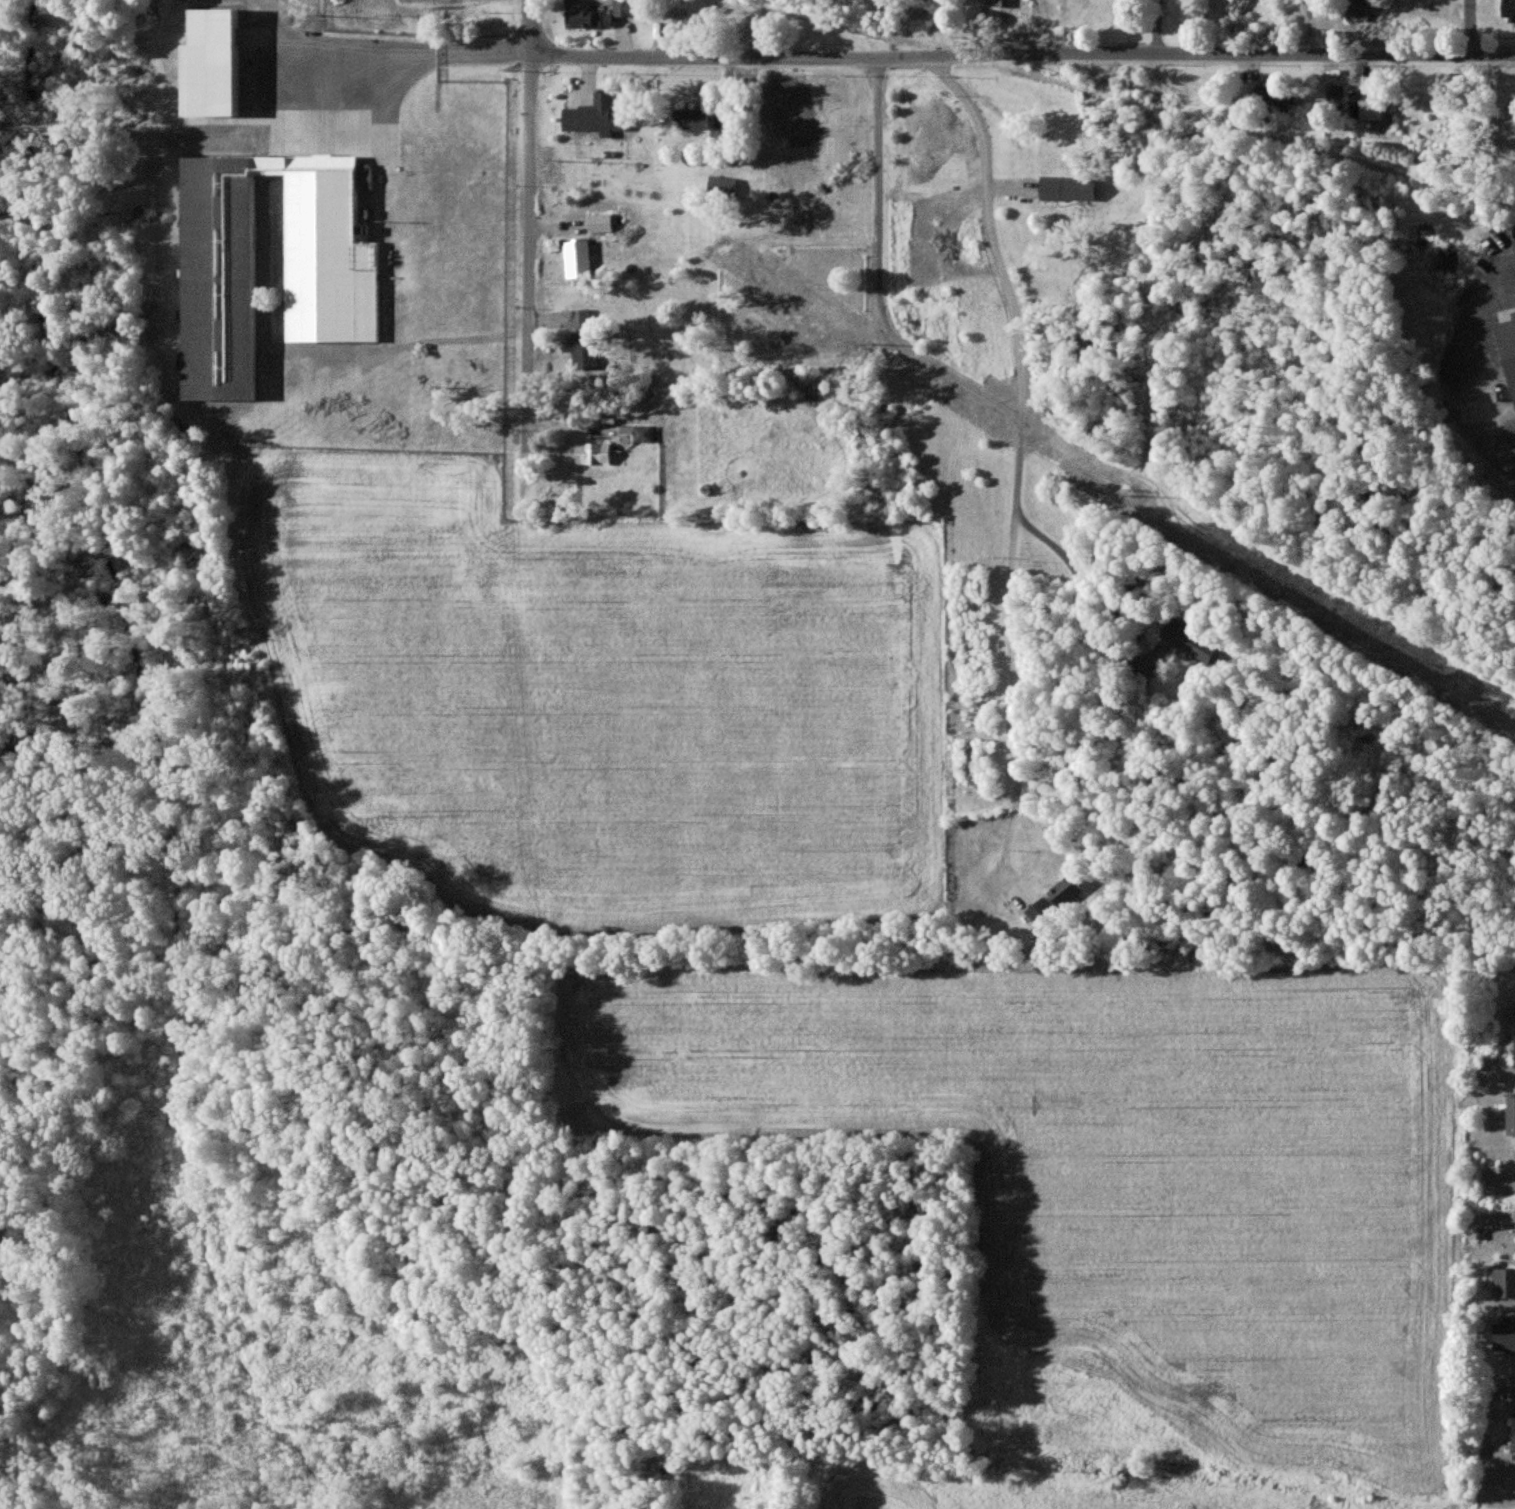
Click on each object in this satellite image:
power substation: (428, 0)
building: (1003, 3)
building: (624, 8)
building: (1360, 8)
building: (1508, 9)
building: (587, 20)
road: (1469, 29)
road: (961, 58)
building: (210, 65)
building: (1335, 96)
building: (1278, 98)
building: (1369, 110)
building: (593, 115)
building: (690, 119)
building: (722, 186)
building: (1067, 189)
building: (600, 223)
road: (533, 227)
building: (578, 259)
building: (336, 296)
building: (581, 319)
building: (1510, 343)
building: (582, 351)
road: (1022, 401)
building: (636, 434)
building: (593, 453)
road: (1092, 608)
building: (1190, 640)
building: (1065, 891)
building: (1041, 912)
building: (1510, 1116)
building: (1504, 1283)
building: (1504, 1337)
building: (1513, 1435)

